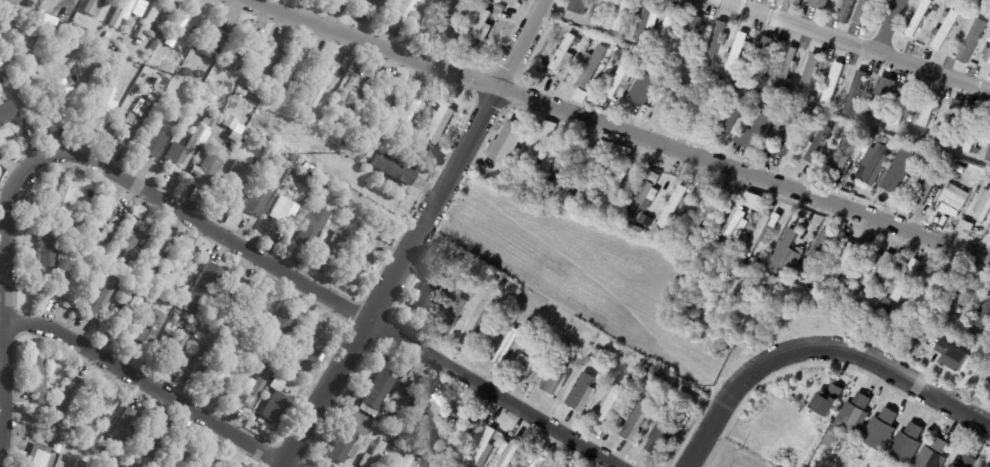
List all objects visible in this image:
building: (343, 0)
building: (507, 0)
building: (796, 2)
building: (820, 4)
building: (373, 5)
building: (985, 5)
building: (88, 6)
building: (579, 6)
building: (403, 7)
building: (500, 9)
building: (846, 9)
building: (933, 9)
building: (595, 10)
building: (121, 11)
building: (862, 11)
building: (945, 14)
building: (423, 16)
building: (622, 16)
building: (602, 17)
building: (918, 18)
building: (457, 19)
building: (647, 20)
building: (153, 21)
building: (668, 21)
road: (883, 24)
building: (177, 29)
building: (481, 30)
building: (946, 30)
building: (691, 34)
building: (107, 35)
building: (159, 36)
building: (988, 39)
building: (208, 41)
building: (649, 41)
building: (973, 41)
building: (138, 43)
building: (714, 43)
road: (858, 44)
building: (154, 45)
building: (587, 47)
building: (566, 50)
building: (738, 50)
building: (243, 52)
building: (987, 54)
building: (617, 56)
building: (762, 58)
building: (265, 60)
building: (157, 62)
building: (167, 65)
building: (591, 66)
building: (788, 68)
building: (291, 71)
building: (741, 71)
building: (186, 72)
building: (810, 74)
building: (14, 75)
building: (621, 77)
building: (128, 80)
building: (324, 83)
building: (728, 83)
building: (648, 84)
building: (831, 84)
building: (226, 87)
building: (243, 88)
building: (855, 93)
building: (350, 96)
building: (582, 96)
building: (882, 97)
building: (60, 101)
building: (672, 101)
building: (379, 102)
building: (268, 103)
building: (775, 103)
building: (706, 105)
building: (902, 106)
building: (105, 107)
building: (410, 110)
building: (928, 110)
building: (732, 111)
building: (9, 113)
building: (304, 113)
building: (909, 118)
building: (326, 120)
building: (951, 121)
building: (439, 124)
building: (130, 127)
building: (548, 127)
building: (758, 130)
building: (882, 130)
building: (239, 131)
road: (623, 132)
building: (973, 133)
building: (793, 139)
building: (265, 141)
building: (343, 142)
building: (508, 142)
building: (155, 143)
building: (819, 144)
building: (192, 146)
building: (554, 146)
building: (351, 147)
building: (361, 152)
building: (431, 152)
building: (414, 154)
building: (282, 155)
building: (846, 156)
building: (988, 156)
building: (831, 157)
building: (293, 158)
building: (566, 163)
building: (870, 166)
building: (392, 167)
building: (207, 172)
building: (591, 172)
building: (897, 176)
building: (312, 182)
building: (519, 183)
building: (235, 184)
building: (929, 184)
building: (324, 185)
building: (613, 191)
building: (577, 198)
building: (258, 199)
building: (950, 200)
building: (641, 201)
building: (61, 202)
building: (729, 202)
building: (349, 203)
building: (72, 205)
building: (982, 206)
building: (674, 207)
building: (139, 211)
building: (703, 212)
building: (283, 214)
building: (100, 222)
building: (649, 222)
building: (737, 225)
building: (312, 226)
building: (379, 227)
building: (967, 228)
building: (760, 234)
building: (27, 235)
road: (417, 235)
building: (70, 236)
building: (716, 241)
building: (336, 243)
building: (128, 244)
building: (84, 246)
building: (731, 246)
building: (47, 248)
building: (157, 250)
building: (818, 251)
building: (787, 253)
building: (358, 258)
building: (107, 261)
building: (846, 262)
building: (113, 264)
building: (124, 268)
building: (178, 268)
building: (876, 268)
building: (103, 273)
building: (802, 273)
building: (142, 276)
building: (807, 276)
building: (483, 278)
building: (907, 278)
building: (205, 284)
building: (818, 284)
building: (450, 285)
building: (73, 286)
building: (502, 287)
building: (929, 290)
building: (863, 291)
road: (3, 293)
building: (427, 293)
building: (227, 296)
building: (104, 297)
road: (332, 297)
building: (158, 300)
building: (960, 302)
building: (887, 303)
building: (259, 306)
building: (190, 307)
building: (985, 310)
building: (131, 311)
building: (892, 313)
building: (454, 317)
building: (175, 320)
building: (282, 325)
building: (527, 325)
building: (480, 328)
building: (152, 330)
building: (539, 330)
building: (937, 333)
building: (959, 333)
building: (989, 338)
building: (313, 344)
building: (232, 346)
building: (507, 346)
building: (563, 347)
road: (820, 347)
building: (258, 348)
building: (175, 349)
building: (953, 356)
building: (918, 357)
building: (589, 358)
building: (203, 359)
building: (529, 360)
building: (262, 361)
building: (287, 361)
building: (288, 369)
building: (559, 375)
building: (657, 376)
building: (40, 377)
building: (225, 378)
road: (150, 386)
building: (257, 387)
building: (582, 393)
building: (376, 394)
building: (66, 399)
building: (275, 400)
building: (828, 400)
building: (401, 402)
building: (612, 405)
building: (98, 410)
building: (41, 411)
building: (854, 418)
building: (431, 420)
building: (637, 423)
building: (122, 425)
building: (460, 430)
building: (882, 430)
building: (389, 432)
building: (665, 433)
building: (54, 437)
building: (394, 437)
building: (350, 438)
building: (86, 439)
building: (145, 443)
building: (58, 444)
building: (417, 444)
building: (78, 445)
building: (908, 445)
building: (483, 446)
building: (426, 447)
building: (110, 451)
building: (435, 452)
building: (119, 455)
building: (511, 455)
building: (935, 455)
building: (371, 456)
building: (40, 457)
building: (178, 457)
building: (428, 458)
building: (408, 459)
building: (203, 460)
building: (966, 461)
building: (539, 462)
building: (80, 464)
building: (434, 465)
building: (139, 466)
building: (985, 466)
building: (989, 466)

